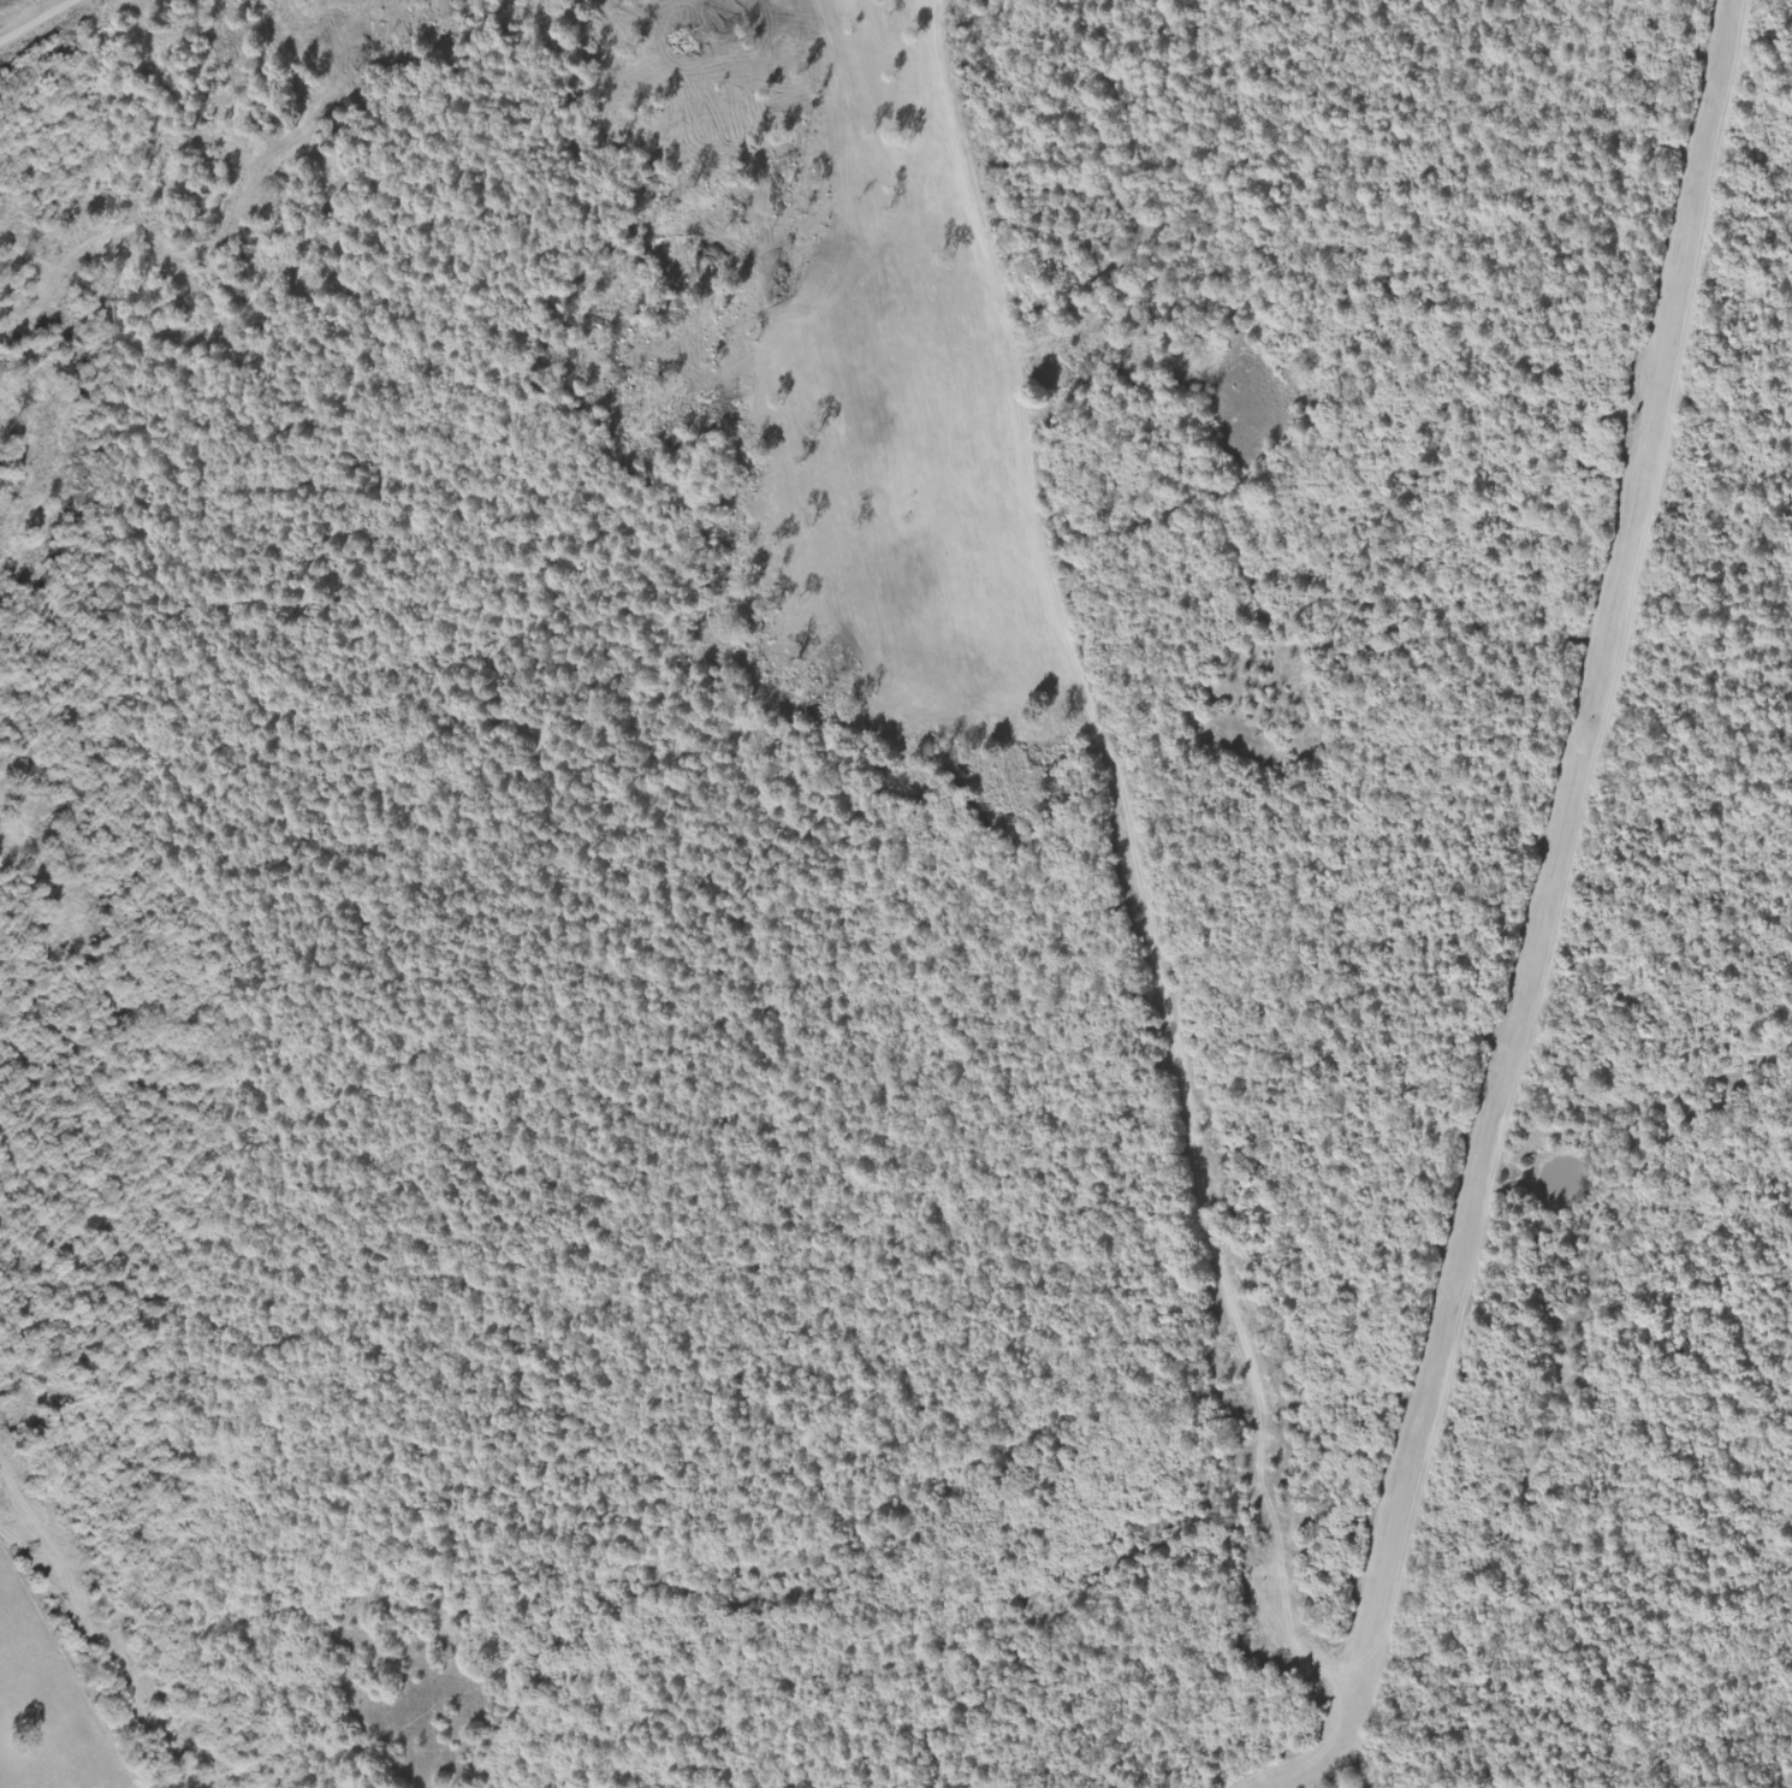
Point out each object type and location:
road: (36, 22)

